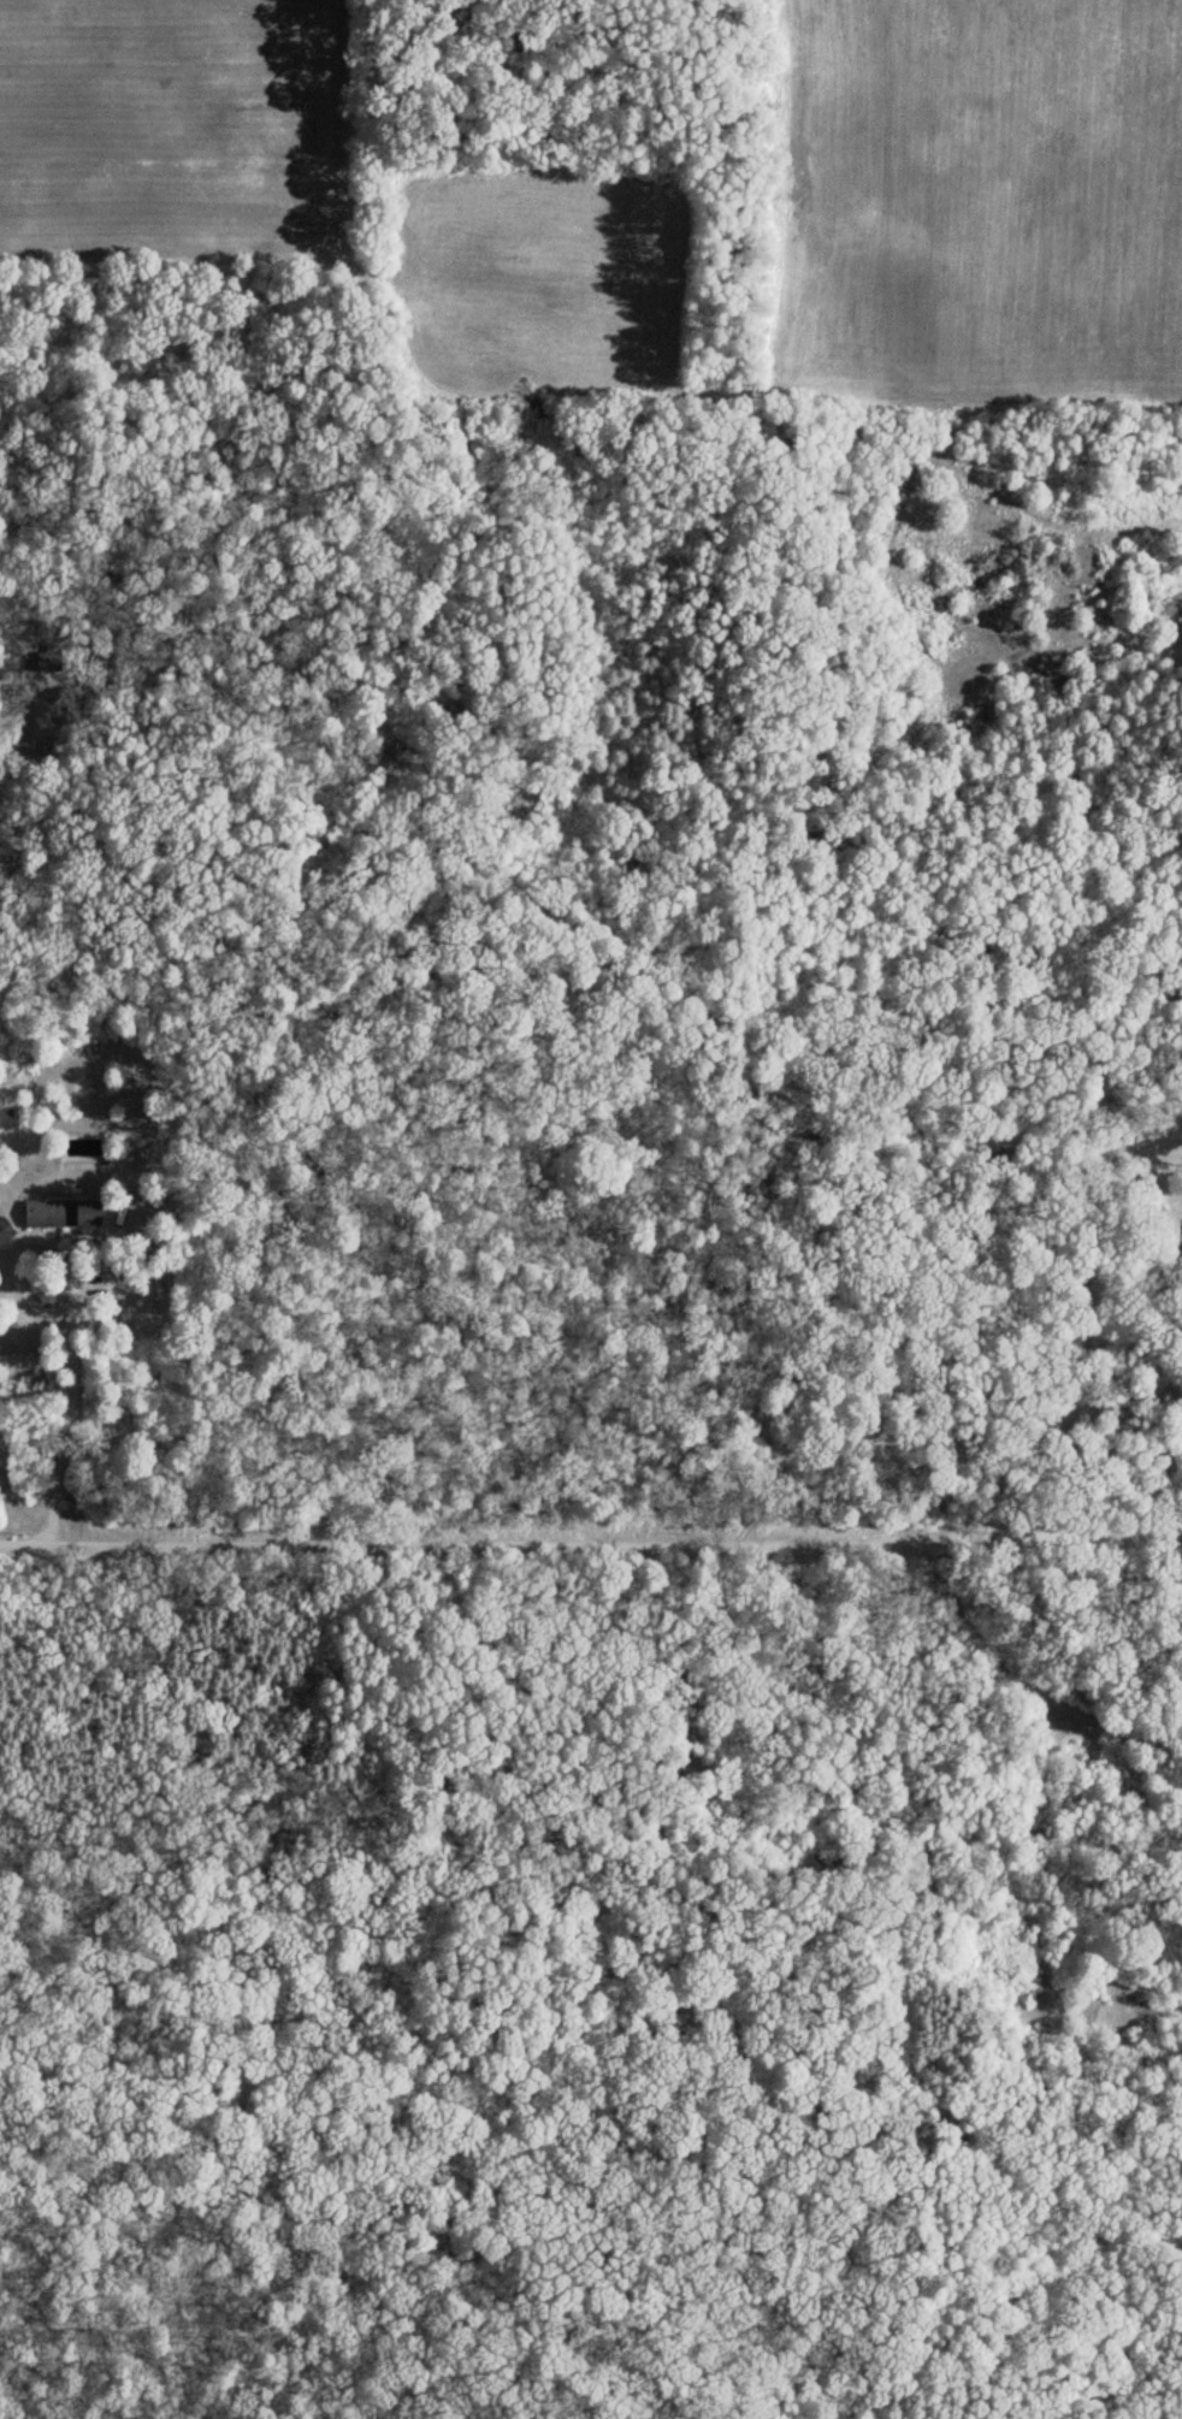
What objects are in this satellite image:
building: (60, 1201)
building: (4, 1231)
road: (69, 1311)
road: (963, 1486)
road: (487, 1513)
road: (636, 1793)
road: (587, 1939)

